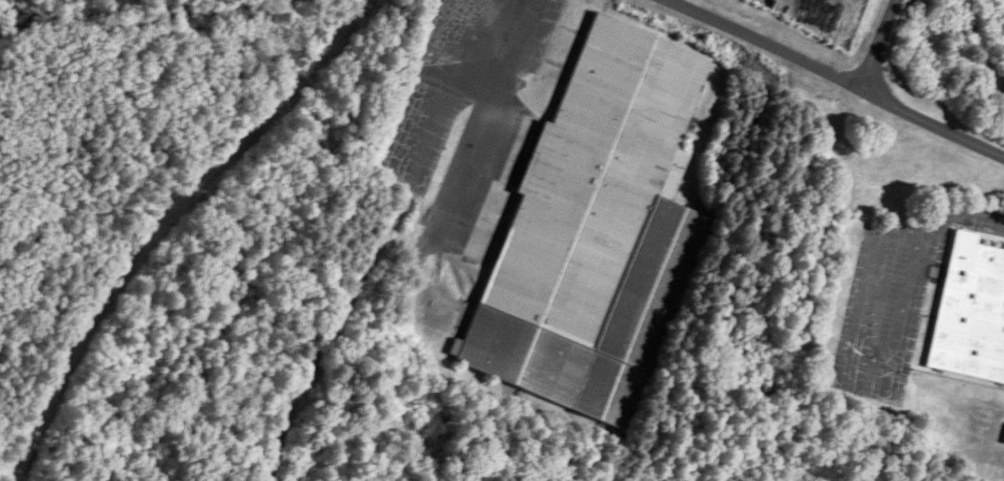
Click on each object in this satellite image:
road: (762, 44)
road: (879, 45)
road: (932, 124)
road: (961, 211)
building: (596, 233)
building: (970, 312)
road: (338, 320)
road: (852, 386)

